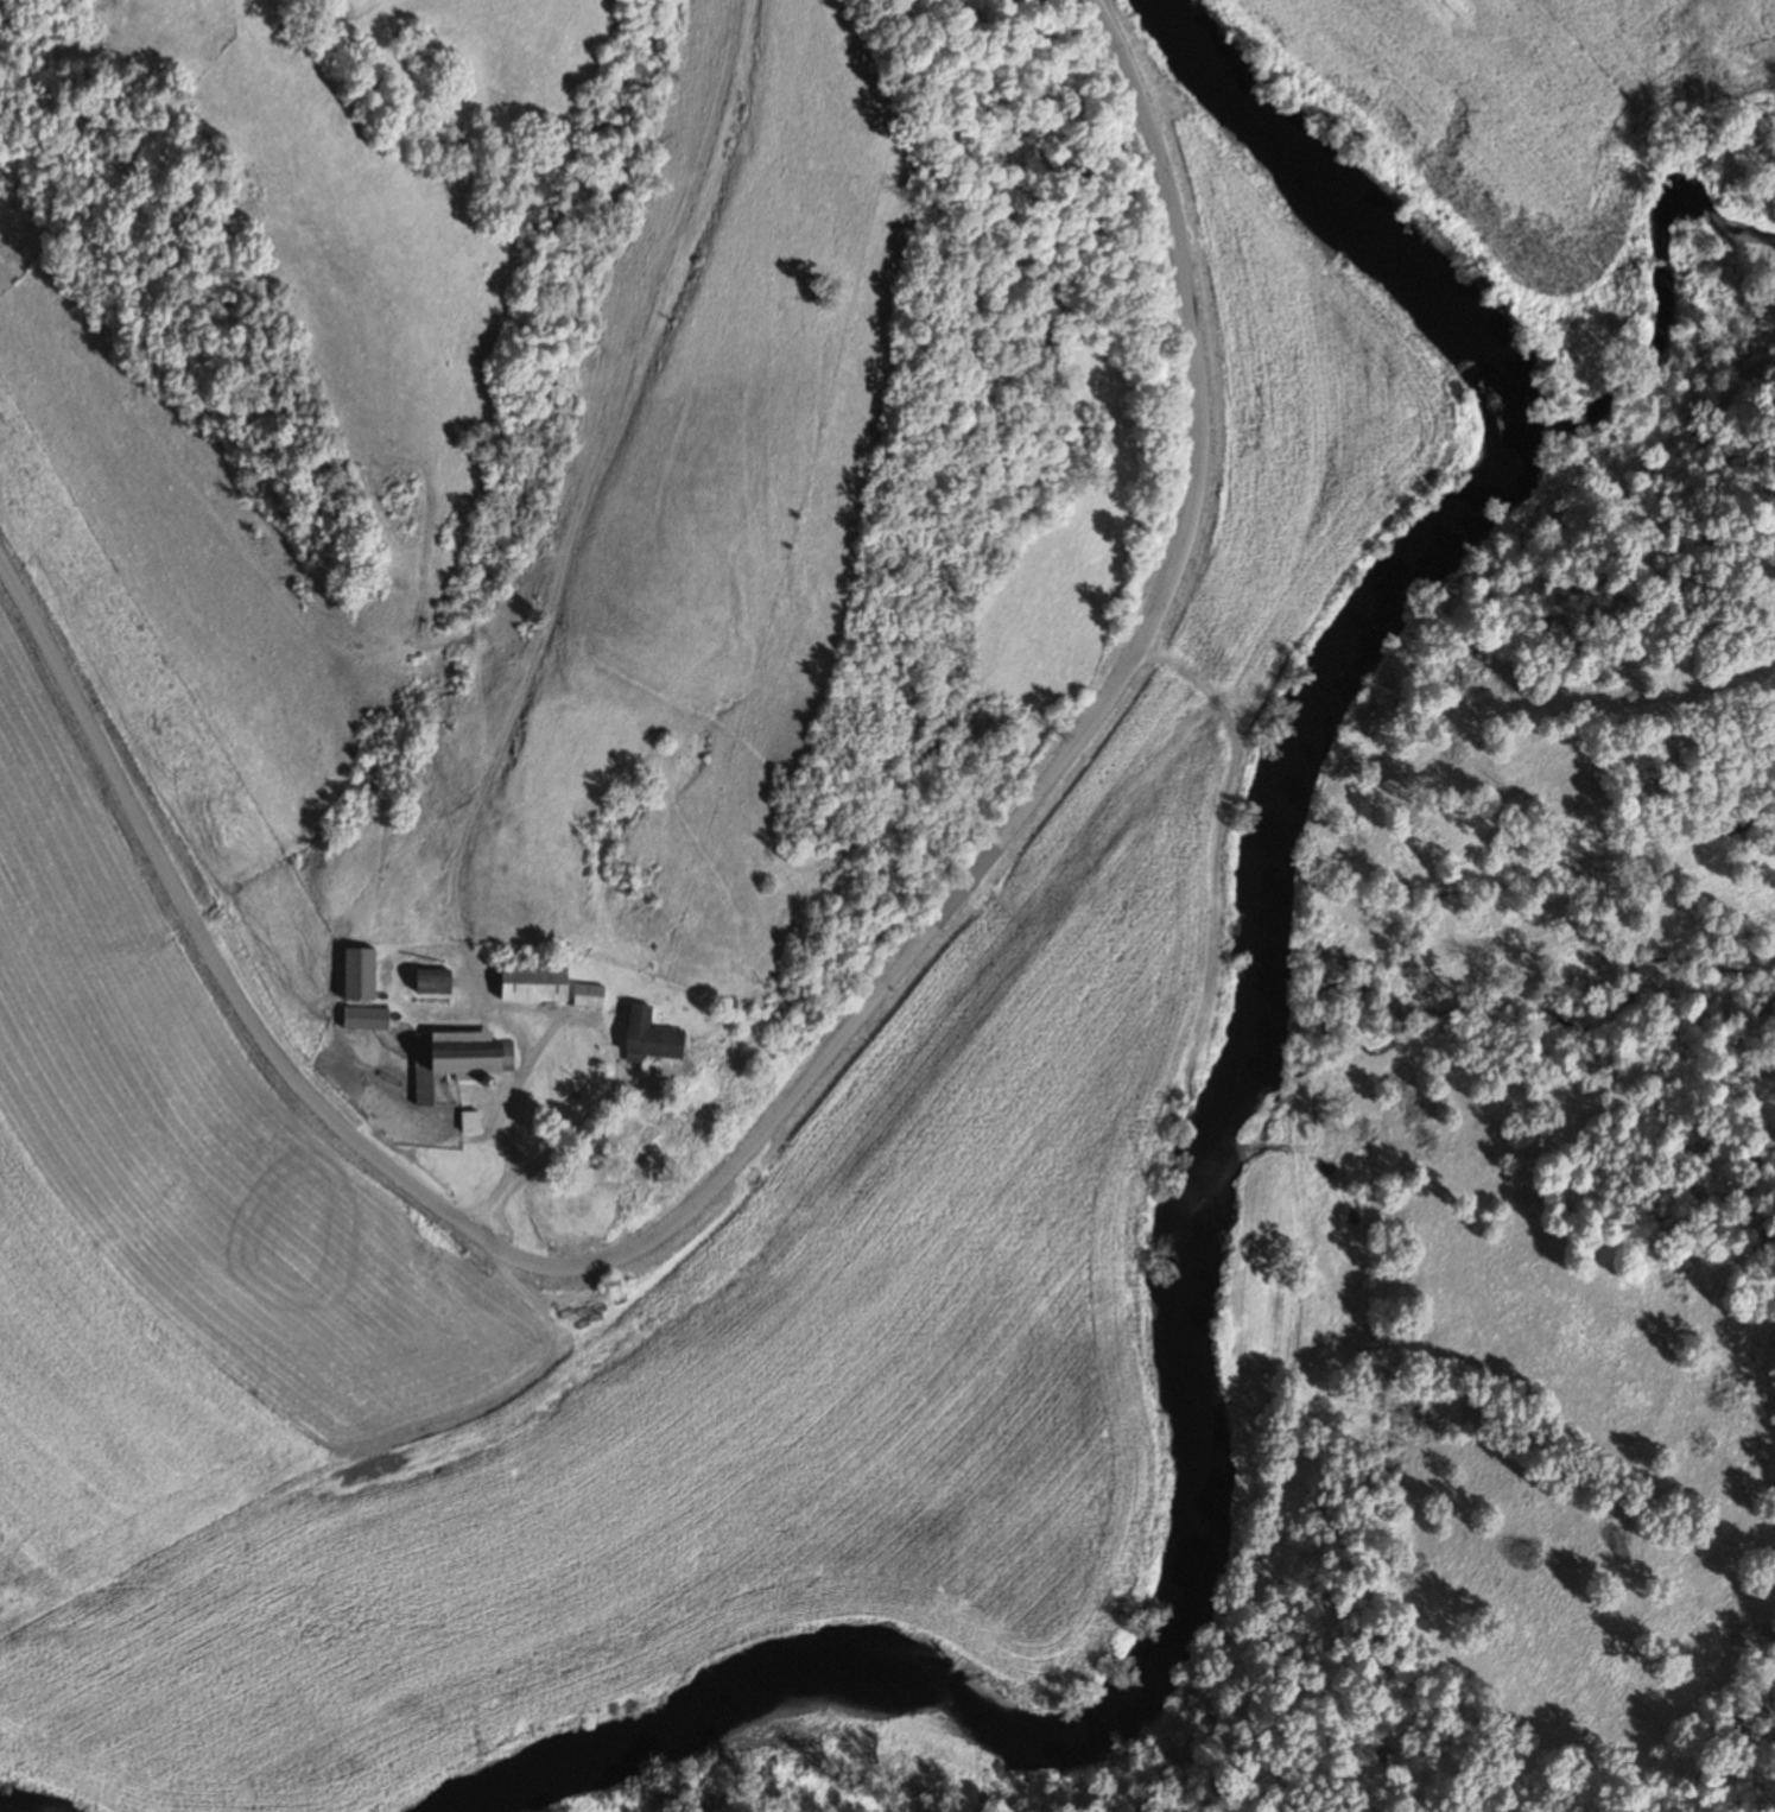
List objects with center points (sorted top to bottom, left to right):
building: (356, 972)
building: (430, 980)
building: (532, 983)
building: (588, 994)
road: (562, 1010)
building: (363, 1016)
building: (648, 1034)
building: (457, 1058)
road: (784, 1078)
river: (1228, 1108)
building: (469, 1120)

